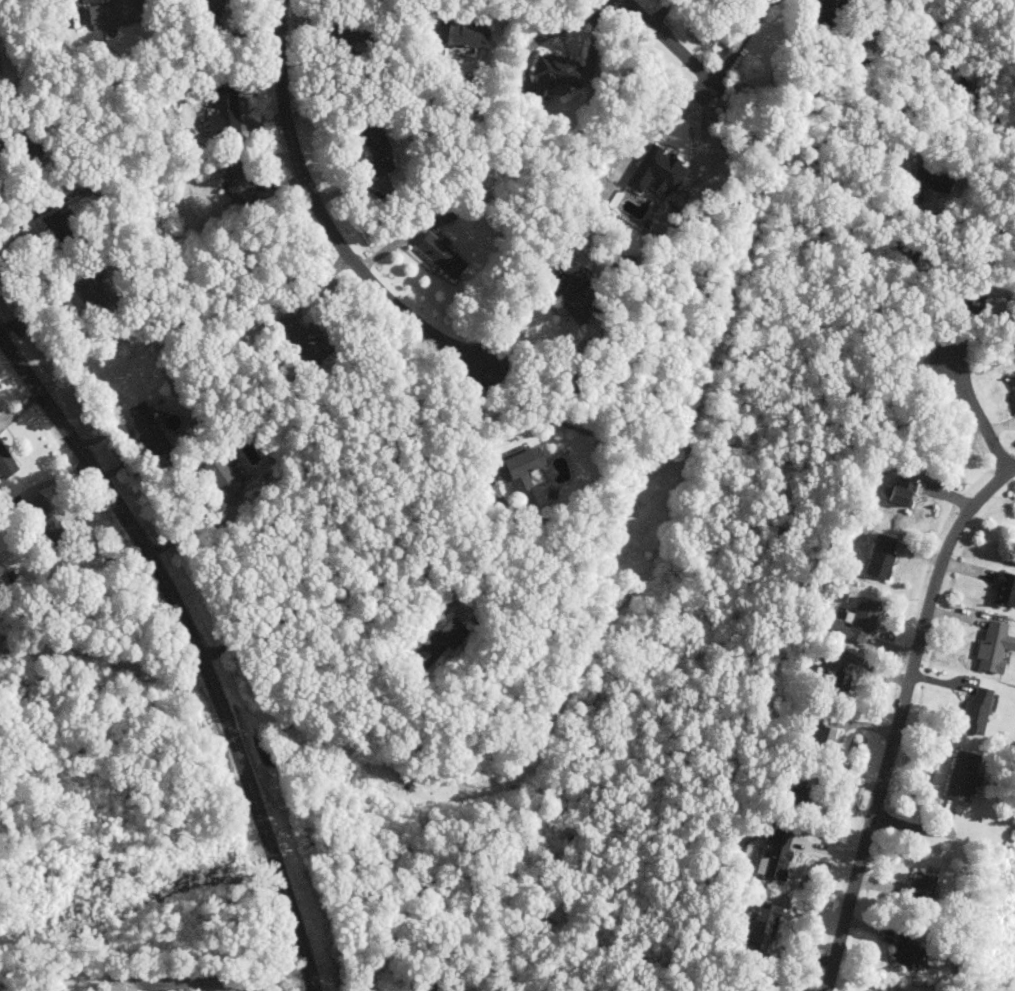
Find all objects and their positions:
building: (831, 1)
road: (79, 4)
building: (116, 12)
road: (550, 33)
building: (471, 34)
road: (687, 41)
road: (753, 41)
building: (558, 73)
road: (689, 108)
building: (226, 111)
building: (392, 153)
building: (661, 171)
building: (934, 179)
building: (241, 188)
road: (33, 216)
road: (327, 219)
road: (936, 243)
building: (446, 254)
road: (982, 410)
building: (144, 420)
building: (7, 462)
building: (528, 466)
building: (905, 492)
building: (883, 557)
building: (1007, 588)
road: (333, 597)
building: (861, 621)
building: (996, 647)
road: (194, 648)
building: (982, 708)
road: (903, 722)
building: (830, 734)
building: (966, 774)
building: (778, 853)
building: (930, 882)
building: (770, 919)
building: (910, 950)
building: (443, 988)
building: (758, 988)
building: (884, 990)

